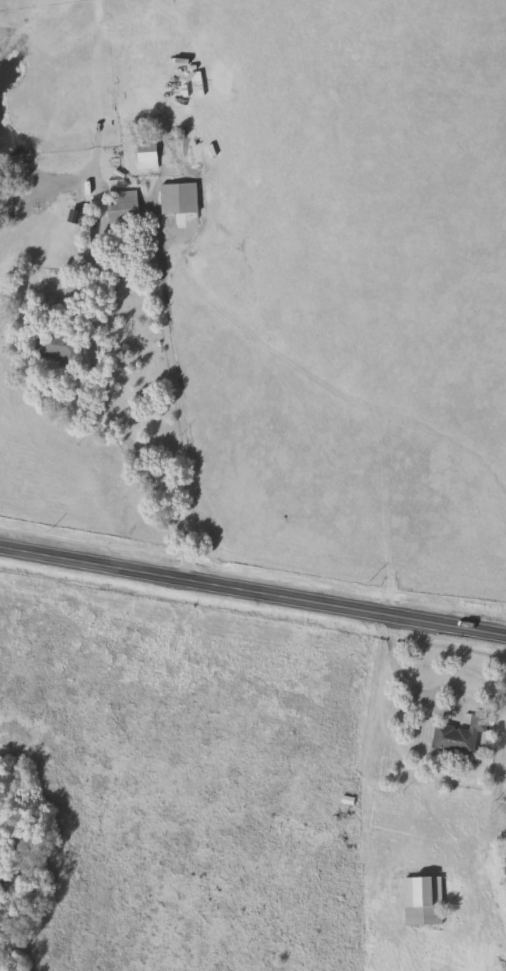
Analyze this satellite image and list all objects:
building: (148, 148)
building: (180, 196)
building: (124, 204)
building: (58, 341)
road: (118, 414)
road: (252, 585)
road: (404, 674)
road: (459, 688)
building: (460, 733)
road: (357, 786)
building: (424, 899)

